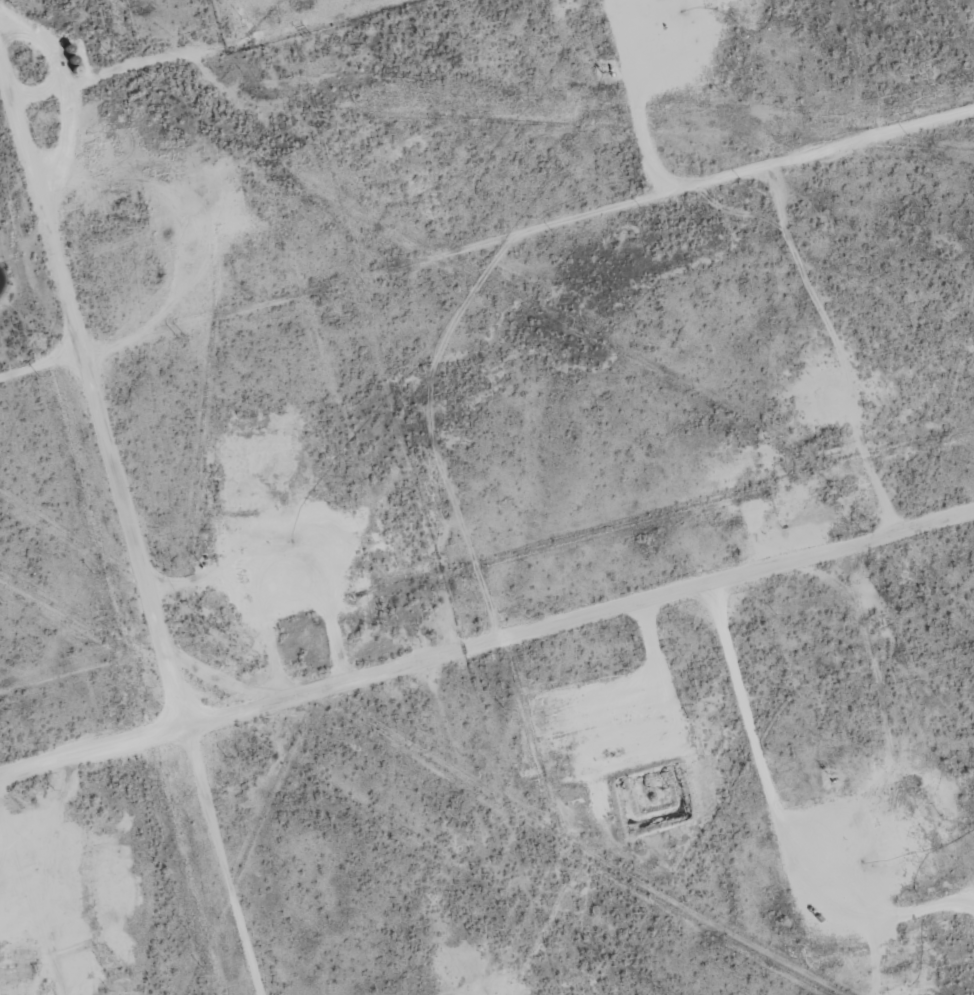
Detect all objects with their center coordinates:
road: (103, 72)
road: (521, 259)
road: (86, 451)
road: (487, 678)

